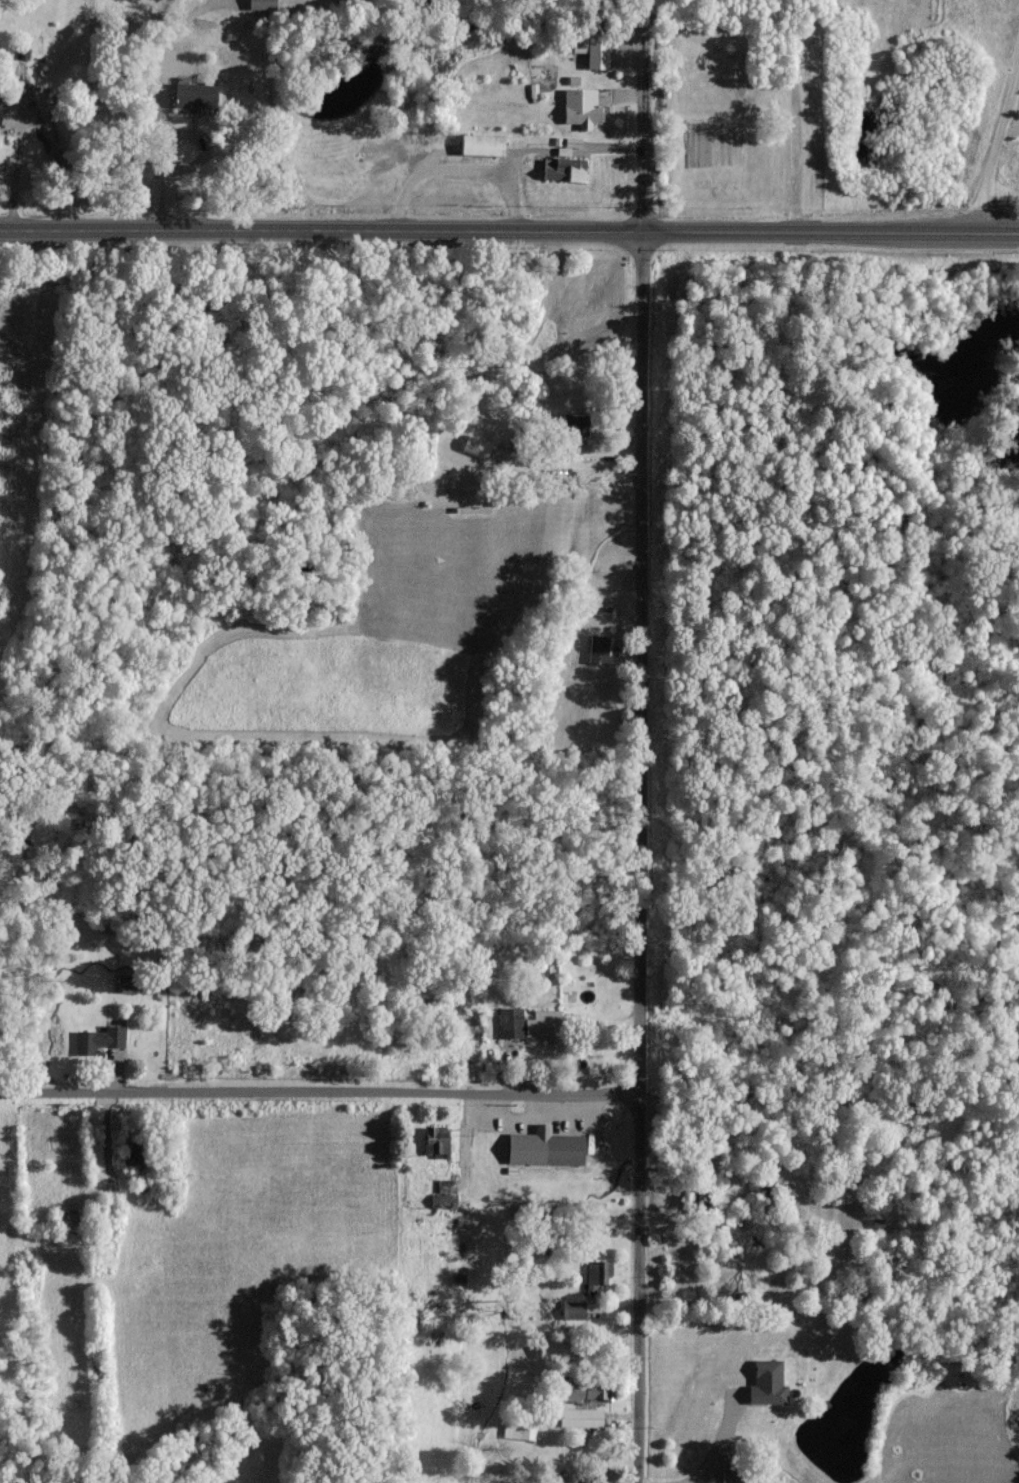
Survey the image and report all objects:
building: (263, 4)
building: (593, 49)
building: (196, 95)
building: (0, 106)
building: (582, 106)
building: (483, 143)
road: (168, 150)
road: (996, 150)
building: (565, 167)
road: (15, 174)
road: (509, 228)
building: (575, 424)
building: (477, 445)
building: (599, 648)
road: (645, 741)
building: (531, 1023)
building: (100, 1039)
road: (322, 1092)
building: (438, 1141)
building: (546, 1147)
building: (447, 1185)
building: (444, 1200)
building: (598, 1274)
building: (574, 1309)
building: (557, 1348)
building: (769, 1382)
building: (590, 1390)
building: (582, 1417)
building: (520, 1430)
road: (723, 1442)

